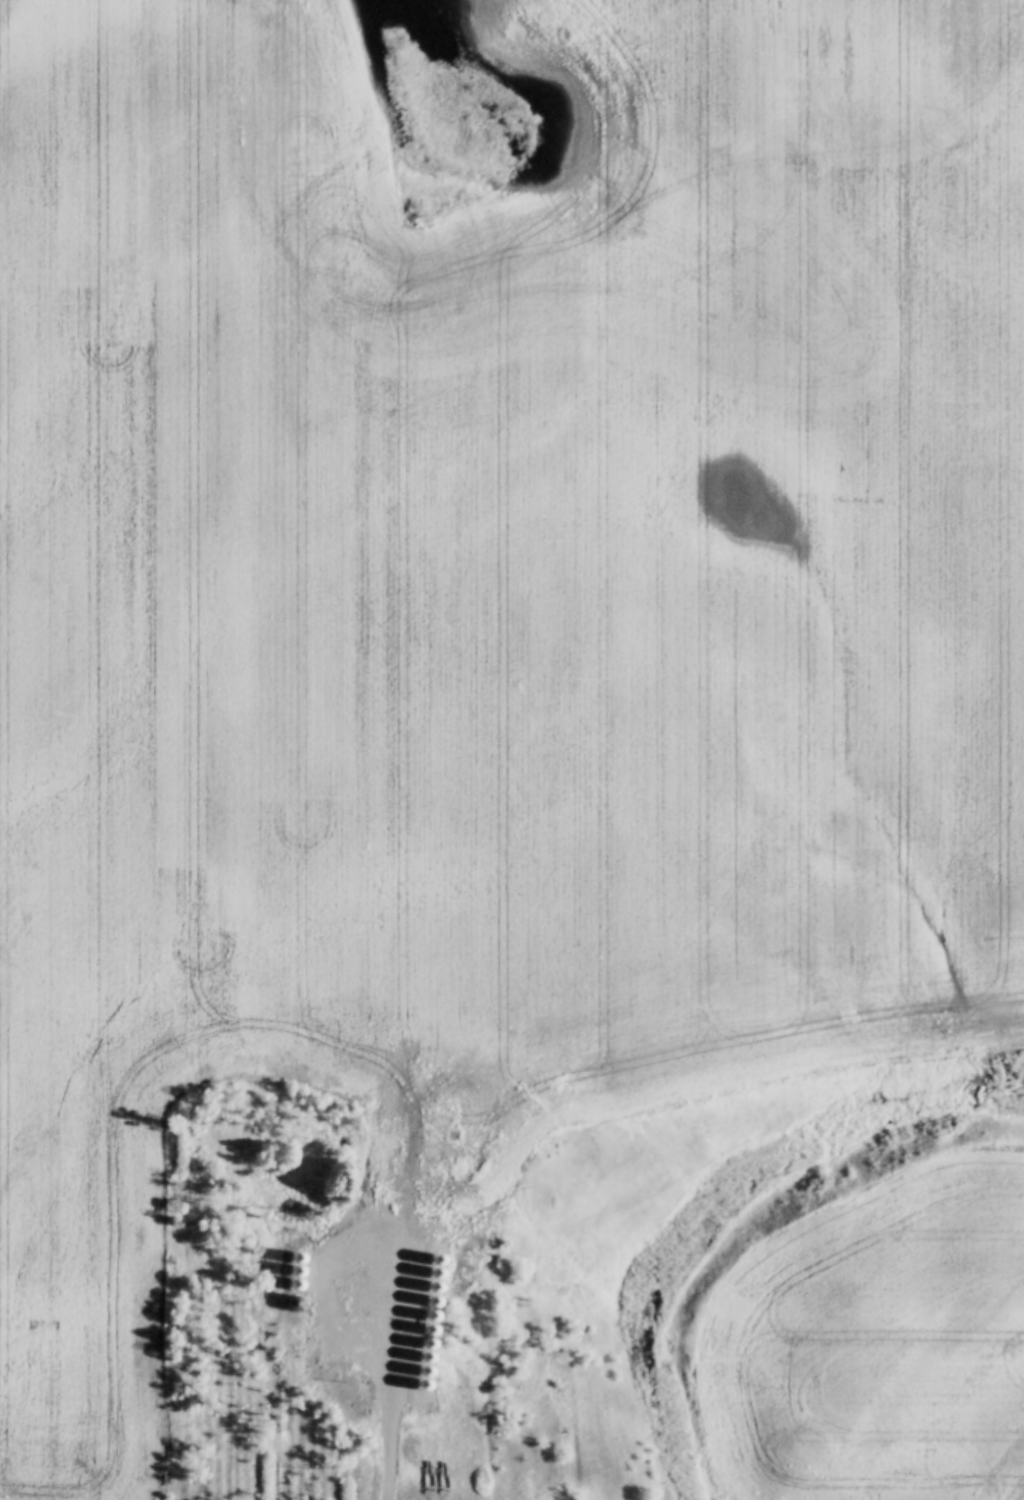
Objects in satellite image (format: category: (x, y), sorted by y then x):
building: (393, 1211)
building: (424, 1268)
building: (295, 1304)
road: (387, 1323)
building: (416, 1387)

